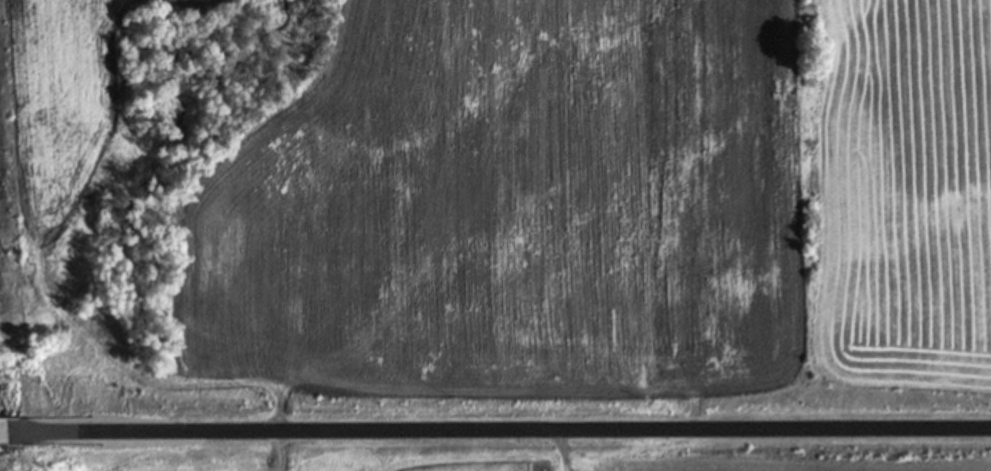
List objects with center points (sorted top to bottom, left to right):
road: (512, 434)
road: (16, 436)

